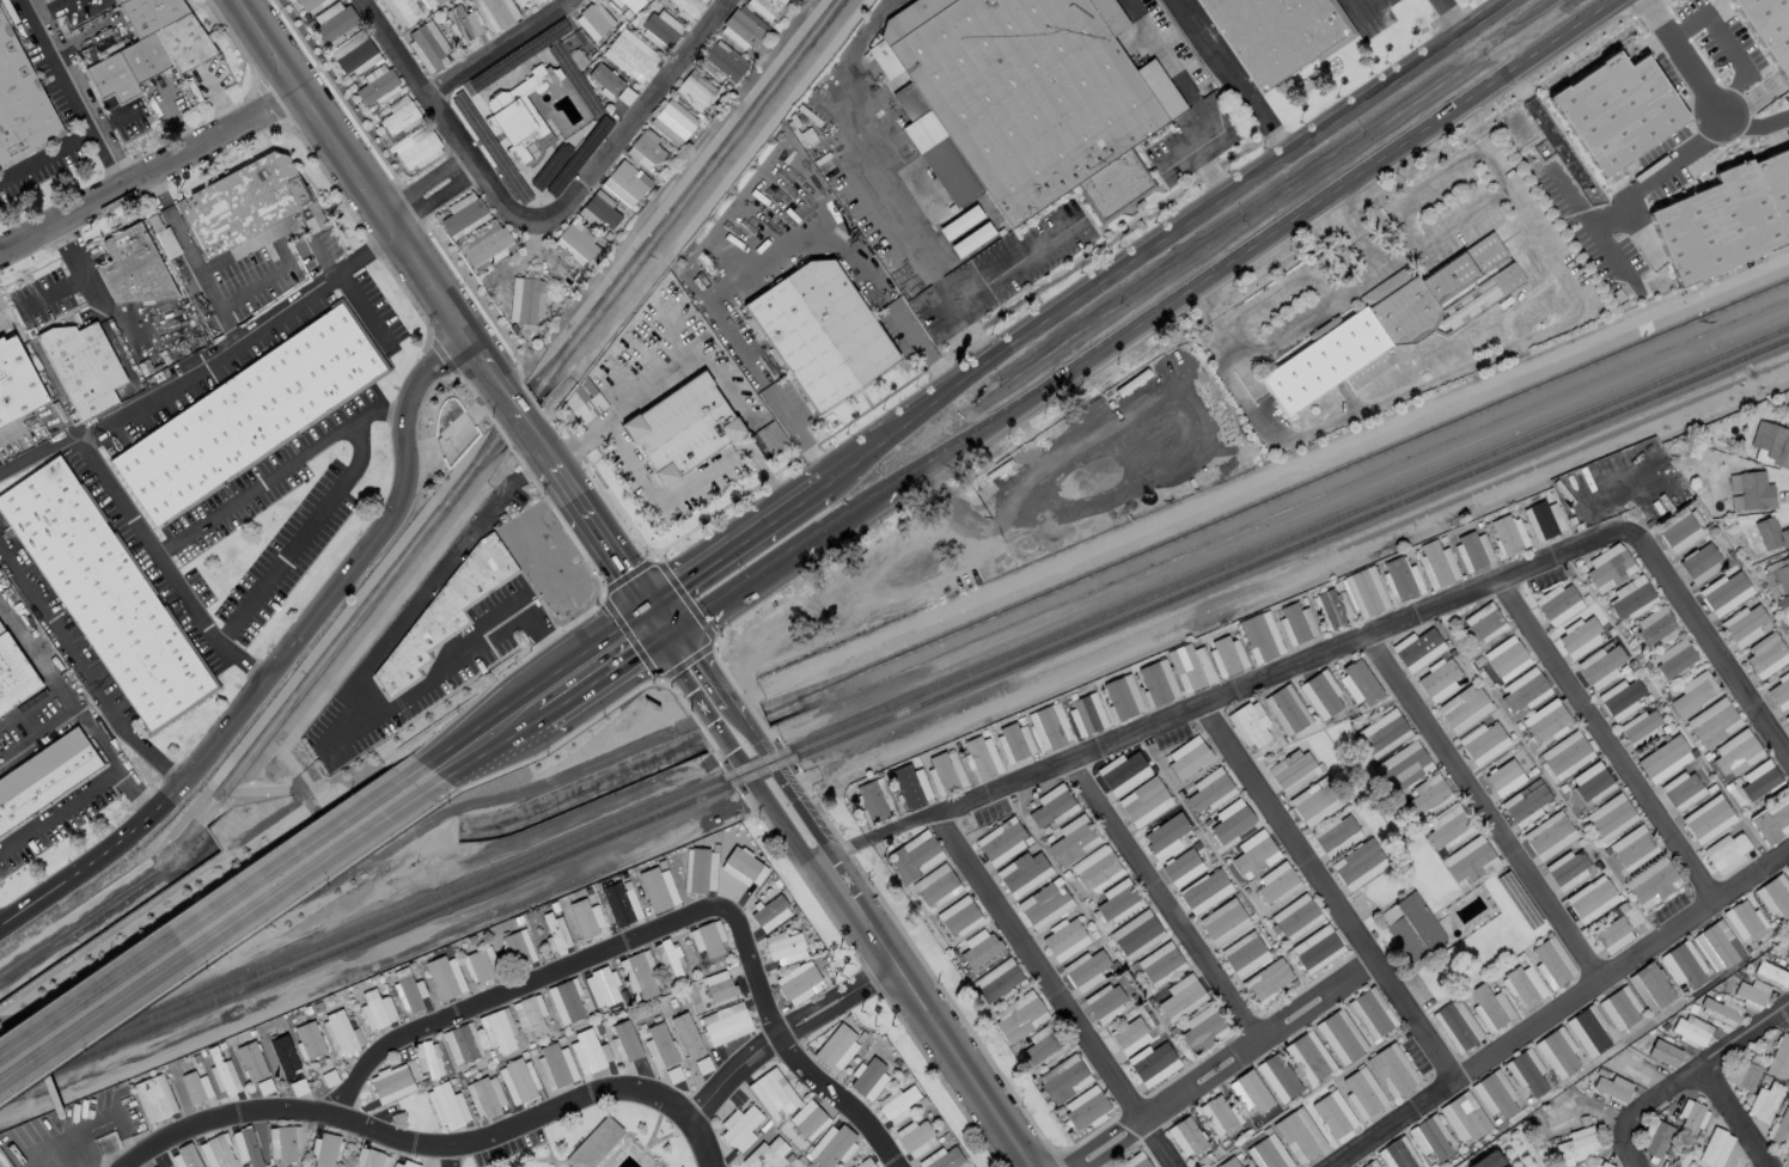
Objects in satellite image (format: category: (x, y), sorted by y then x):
building: (536, 1)
building: (433, 2)
building: (310, 4)
building: (629, 4)
building: (688, 6)
building: (765, 7)
building: (495, 13)
road: (1453, 16)
building: (592, 20)
building: (331, 22)
building: (462, 24)
building: (1770, 25)
building: (743, 28)
building: (660, 29)
building: (1272, 36)
building: (428, 47)
road: (1727, 49)
road: (500, 50)
building: (354, 55)
building: (630, 55)
road: (1681, 57)
building: (721, 61)
road: (61, 63)
road: (1235, 77)
building: (604, 79)
road: (417, 83)
building: (375, 84)
building: (1033, 90)
building: (696, 93)
road: (1195, 98)
building: (20, 103)
building: (1616, 110)
building: (399, 115)
building: (519, 116)
building: (672, 122)
road: (1753, 123)
road: (77, 136)
building: (415, 145)
road: (613, 151)
building: (646, 151)
road: (151, 171)
road: (1655, 175)
building: (625, 183)
road: (867, 188)
road: (433, 193)
building: (599, 212)
building: (463, 215)
building: (1726, 215)
road: (1585, 221)
road: (1177, 230)
road: (184, 242)
building: (575, 243)
building: (486, 244)
road: (250, 245)
road: (1014, 262)
building: (132, 268)
road: (869, 270)
road: (1223, 270)
road: (77, 274)
road: (441, 297)
building: (525, 299)
road: (361, 306)
road: (1, 316)
road: (1216, 322)
building: (1396, 326)
building: (822, 335)
road: (203, 360)
road: (1486, 361)
building: (81, 367)
building: (16, 381)
building: (582, 403)
road: (780, 403)
road: (48, 407)
road: (377, 410)
building: (248, 414)
road: (7, 432)
building: (684, 434)
road: (358, 440)
road: (581, 444)
building: (1772, 445)
road: (652, 484)
building: (1756, 491)
building: (1543, 520)
building: (1680, 530)
road: (739, 531)
building: (1507, 534)
building: (1771, 534)
building: (1472, 552)
building: (1698, 562)
road: (163, 563)
building: (1436, 564)
building: (1608, 567)
building: (1783, 575)
building: (1400, 578)
road: (745, 589)
building: (1364, 592)
building: (1724, 592)
building: (103, 594)
building: (1630, 598)
building: (1558, 604)
building: (1331, 609)
building: (445, 612)
traffic signals: (659, 623)
building: (1480, 623)
building: (1295, 624)
building: (1653, 624)
building: (1742, 625)
building: (1581, 633)
building: (1259, 637)
road: (23, 640)
building: (1417, 649)
road: (680, 654)
building: (1227, 655)
building: (1765, 655)
building: (1506, 658)
building: (1673, 658)
road: (281, 664)
building: (1190, 666)
building: (1600, 666)
road: (83, 674)
building: (13, 676)
building: (1439, 679)
building: (1361, 680)
building: (1156, 682)
road: (347, 686)
building: (1524, 691)
building: (1779, 691)
building: (1320, 694)
building: (1692, 694)
building: (1122, 698)
road: (1209, 699)
building: (1622, 699)
road: (32, 703)
road: (536, 703)
railway: (893, 705)
building: (1463, 708)
building: (1286, 710)
building: (1086, 714)
railway: (893, 717)
building: (1787, 719)
building: (1545, 721)
building: (1712, 722)
building: (1248, 725)
building: (1049, 727)
building: (1641, 727)
road: (738, 728)
road: (726, 733)
building: (1382, 733)
road: (38, 735)
road: (1608, 739)
building: (1014, 741)
building: (1483, 743)
road: (105, 751)
building: (1735, 752)
building: (1565, 754)
building: (981, 757)
building: (1187, 757)
building: (1663, 759)
building: (1403, 766)
building: (1292, 771)
building: (1507, 771)
building: (945, 772)
building: (1123, 772)
building: (44, 777)
building: (1759, 780)
building: (1590, 782)
building: (910, 787)
building: (1209, 790)
building: (1681, 790)
building: (1428, 796)
road: (796, 800)
building: (869, 800)
building: (1143, 801)
building: (1313, 802)
building: (1525, 804)
building: (1051, 806)
road: (59, 808)
road: (1480, 808)
road: (775, 812)
building: (1611, 817)
building: (1706, 819)
building: (1231, 820)
building: (1772, 820)
building: (1447, 827)
road: (875, 833)
building: (1165, 835)
building: (1335, 835)
building: (1549, 836)
building: (1073, 841)
building: (1632, 848)
building: (1726, 853)
building: (1254, 854)
building: (914, 856)
building: (1469, 861)
building: (1356, 866)
building: (743, 867)
building: (1182, 868)
building: (1787, 868)
building: (1095, 869)
building: (1568, 869)
building: (700, 870)
building: (1022, 873)
building: (1276, 882)
building: (1651, 882)
building: (935, 886)
building: (658, 890)
road: (1330, 890)
building: (1204, 891)
building: (1775, 896)
building: (1590, 899)
building: (1117, 900)
road: (1161, 902)
building: (619, 904)
building: (1044, 904)
building: (770, 914)
building: (958, 916)
building: (1295, 917)
building: (586, 919)
building: (1744, 919)
road: (206, 921)
building: (1222, 921)
building: (1410, 927)
building: (555, 934)
building: (1135, 934)
building: (1612, 935)
building: (707, 939)
building: (1064, 939)
building: (1717, 946)
building: (517, 948)
building: (784, 948)
building: (979, 948)
building: (1317, 948)
building: (1787, 952)
building: (1244, 954)
building: (667, 958)
building: (1551, 963)
building: (1160, 964)
building: (477, 965)
building: (1684, 966)
building: (1085, 970)
building: (1771, 973)
building: (640, 974)
building: (445, 977)
building: (996, 980)
building: (798, 983)
building: (1265, 983)
building: (1522, 984)
building: (719, 986)
building: (1654, 988)
road: (507, 989)
building: (605, 990)
building: (1751, 994)
building: (409, 995)
building: (1180, 997)
building: (564, 1001)
building: (1105, 1002)
building: (1489, 1008)
road: (1557, 1009)
building: (1620, 1009)
building: (375, 1010)
building: (1720, 1010)
road: (926, 1014)
building: (1369, 1014)
building: (529, 1015)
building: (1019, 1015)
building: (725, 1024)
building: (1455, 1026)
building: (1202, 1029)
building: (497, 1031)
building: (1590, 1031)
building: (1690, 1031)
building: (341, 1033)
building: (686, 1035)
building: (1129, 1035)
road: (789, 1037)
building: (1339, 1037)
building: (307, 1040)
building: (624, 1040)
building: (460, 1043)
building: (1042, 1044)
building: (659, 1046)
road: (784, 1047)
building: (836, 1047)
building: (588, 1051)
building: (1558, 1052)
building: (1308, 1057)
building: (427, 1058)
building: (1779, 1058)
building: (251, 1061)
building: (1152, 1063)
road: (1228, 1063)
building: (555, 1064)
building: (1391, 1070)
building: (1527, 1073)
building: (1742, 1073)
road: (1687, 1075)
building: (224, 1076)
building: (1277, 1077)
building: (867, 1079)
building: (1063, 1079)
building: (517, 1081)
building: (390, 1083)
building: (195, 1087)
building: (1612, 1087)
building: (1250, 1092)
building: (1788, 1092)
building: (1362, 1093)
building: (773, 1094)
building: (1495, 1094)
building: (484, 1095)
building: (153, 1098)
building: (1764, 1102)
building: (897, 1104)
building: (446, 1106)
building: (1085, 1107)
building: (1333, 1113)
building: (1558, 1114)
building: (1217, 1116)
road: (1738, 1116)
building: (1464, 1117)
building: (1691, 1117)
building: (807, 1119)
road: (222, 1120)
road: (515, 1124)
building: (739, 1126)
building: (1779, 1129)
building: (1298, 1135)
building: (1186, 1136)
building: (1430, 1137)
building: (1655, 1137)
building: (915, 1138)
road: (702, 1142)
building: (283, 1143)
building: (593, 1143)
building: (832, 1145)
building: (1577, 1145)
building: (245, 1147)
building: (1714, 1148)
building: (324, 1149)
building: (216, 1151)
building: (1268, 1153)
building: (1398, 1154)
building: (765, 1155)
building: (184, 1157)
road: (452, 1157)
building: (370, 1159)
building: (941, 1159)
building: (1678, 1160)
building: (1485, 1161)
building: (1136, 1162)
building: (1228, 1162)
building: (1787, 1162)
building: (401, 1163)
building: (865, 1163)
building: (1600, 1163)
building: (1370, 1165)
building: (1245, 1166)

